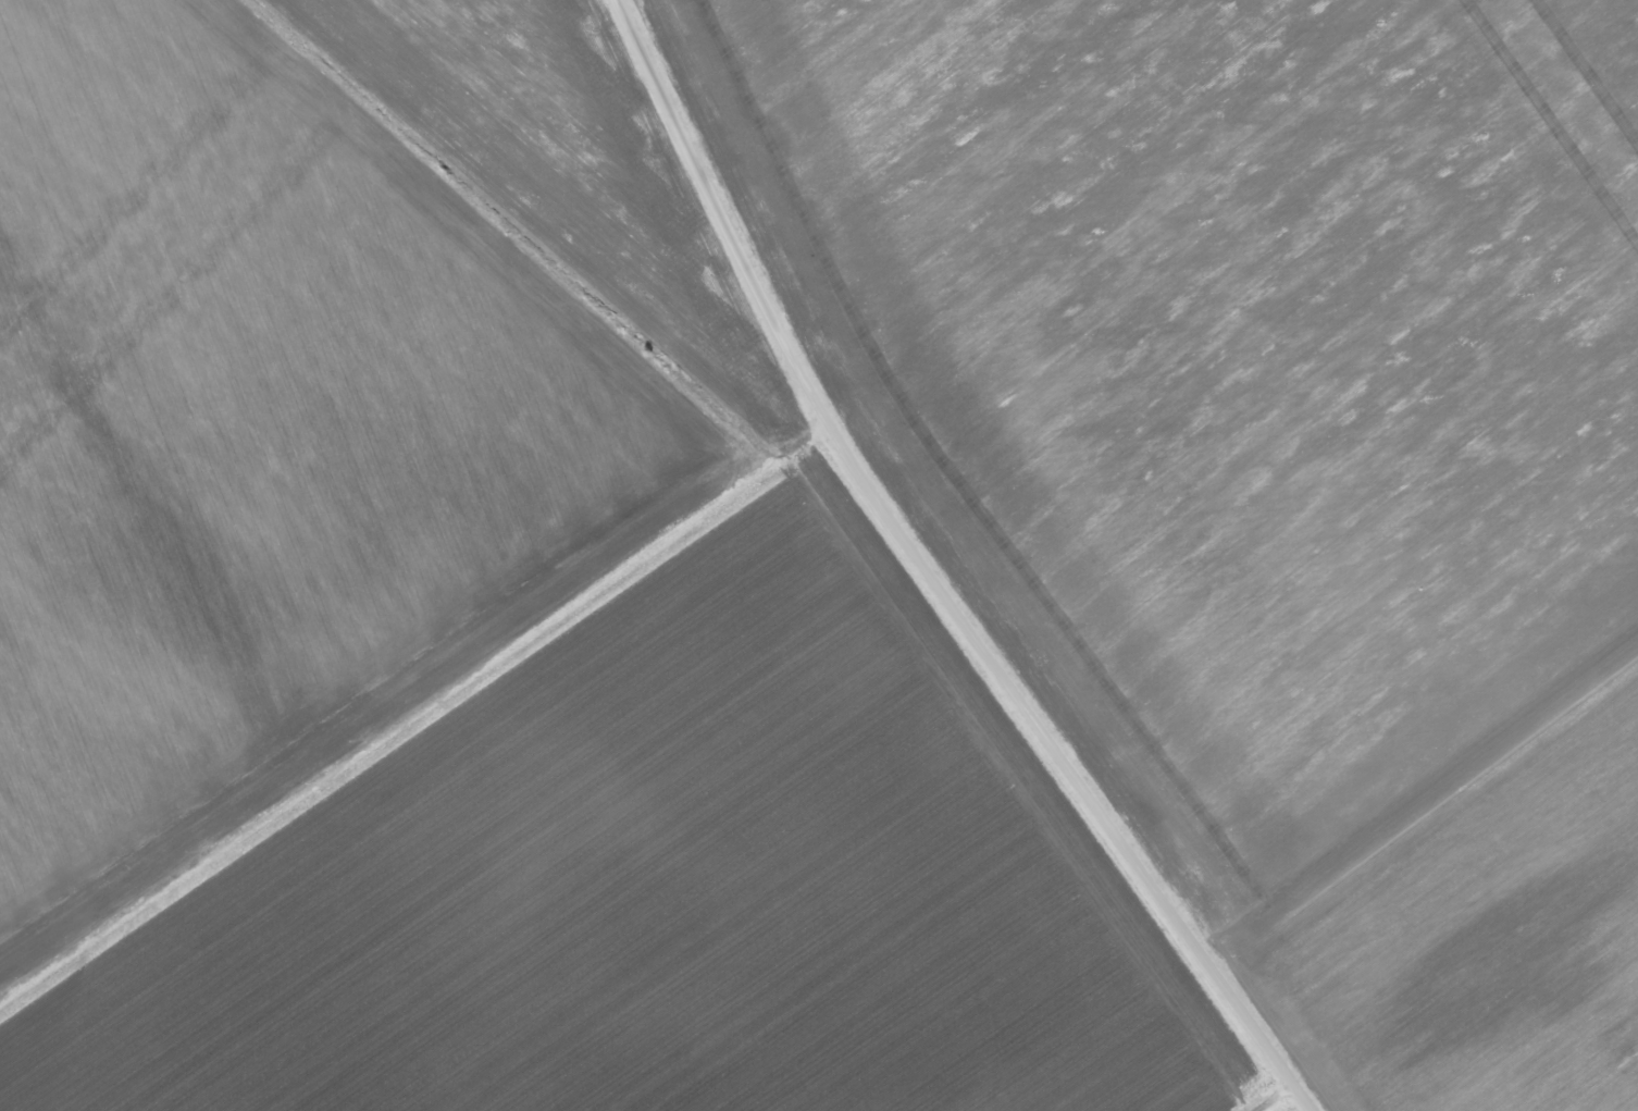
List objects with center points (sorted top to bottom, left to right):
road: (938, 576)

